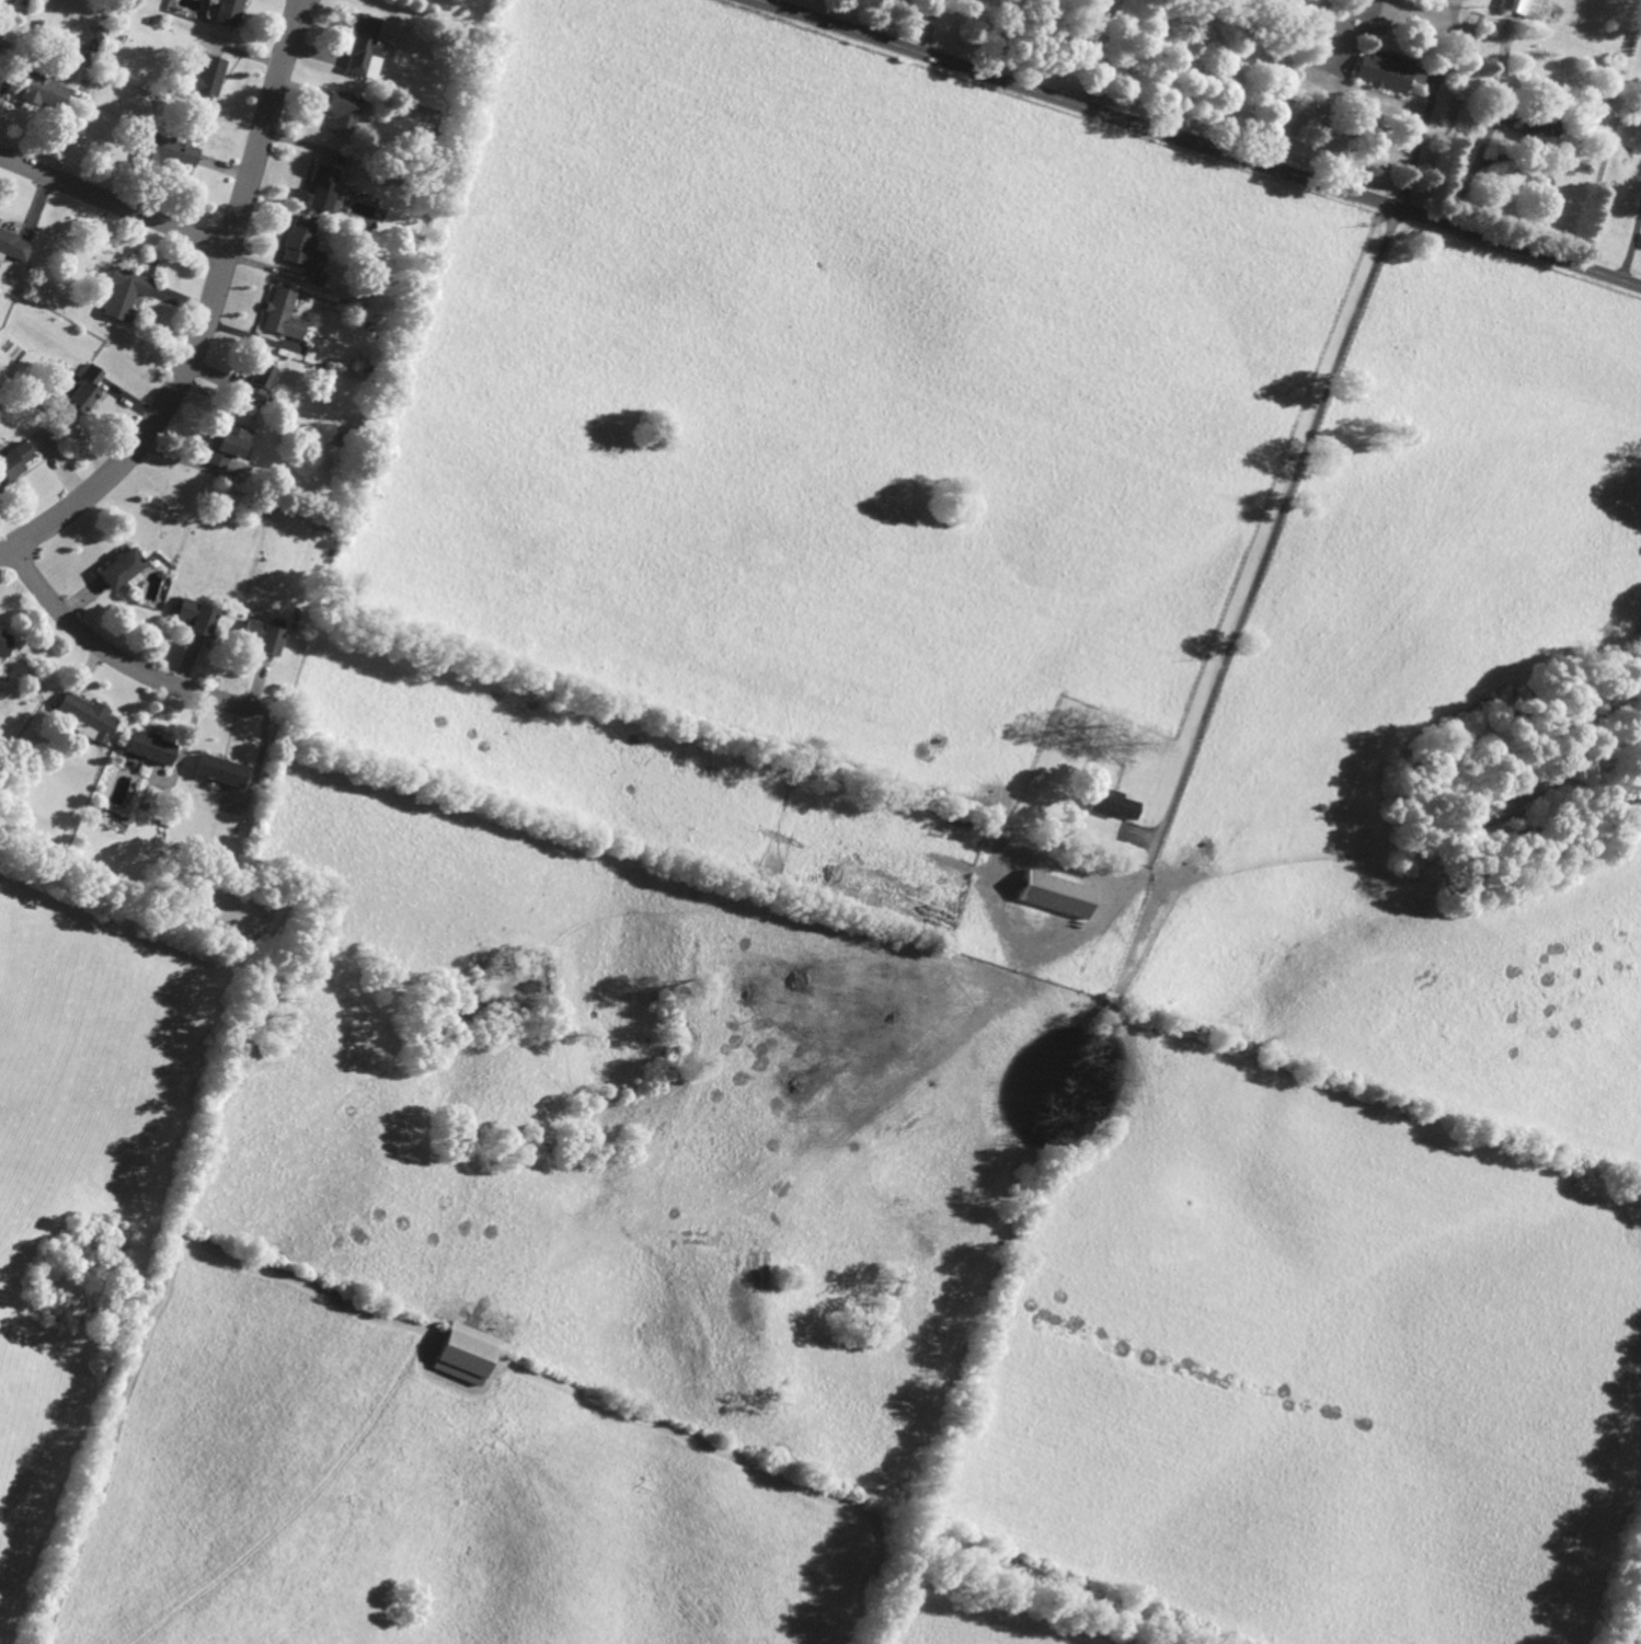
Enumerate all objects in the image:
road: (761, 0)
road: (302, 3)
road: (306, 3)
building: (1525, 8)
building: (229, 12)
road: (932, 27)
road: (1002, 38)
building: (366, 46)
building: (1387, 70)
building: (207, 76)
building: (45, 92)
building: (344, 112)
building: (1533, 128)
road: (1421, 140)
road: (1200, 142)
building: (168, 149)
building: (323, 187)
road: (115, 203)
building: (0, 218)
building: (14, 245)
building: (303, 245)
building: (127, 294)
building: (284, 313)
road: (209, 320)
building: (259, 382)
building: (83, 389)
building: (230, 444)
building: (14, 461)
road: (1263, 567)
building: (124, 568)
building: (197, 616)
building: (265, 635)
building: (5, 642)
road: (121, 660)
building: (89, 716)
building: (151, 747)
building: (221, 770)
building: (1114, 804)
building: (1055, 894)
building: (466, 1353)

